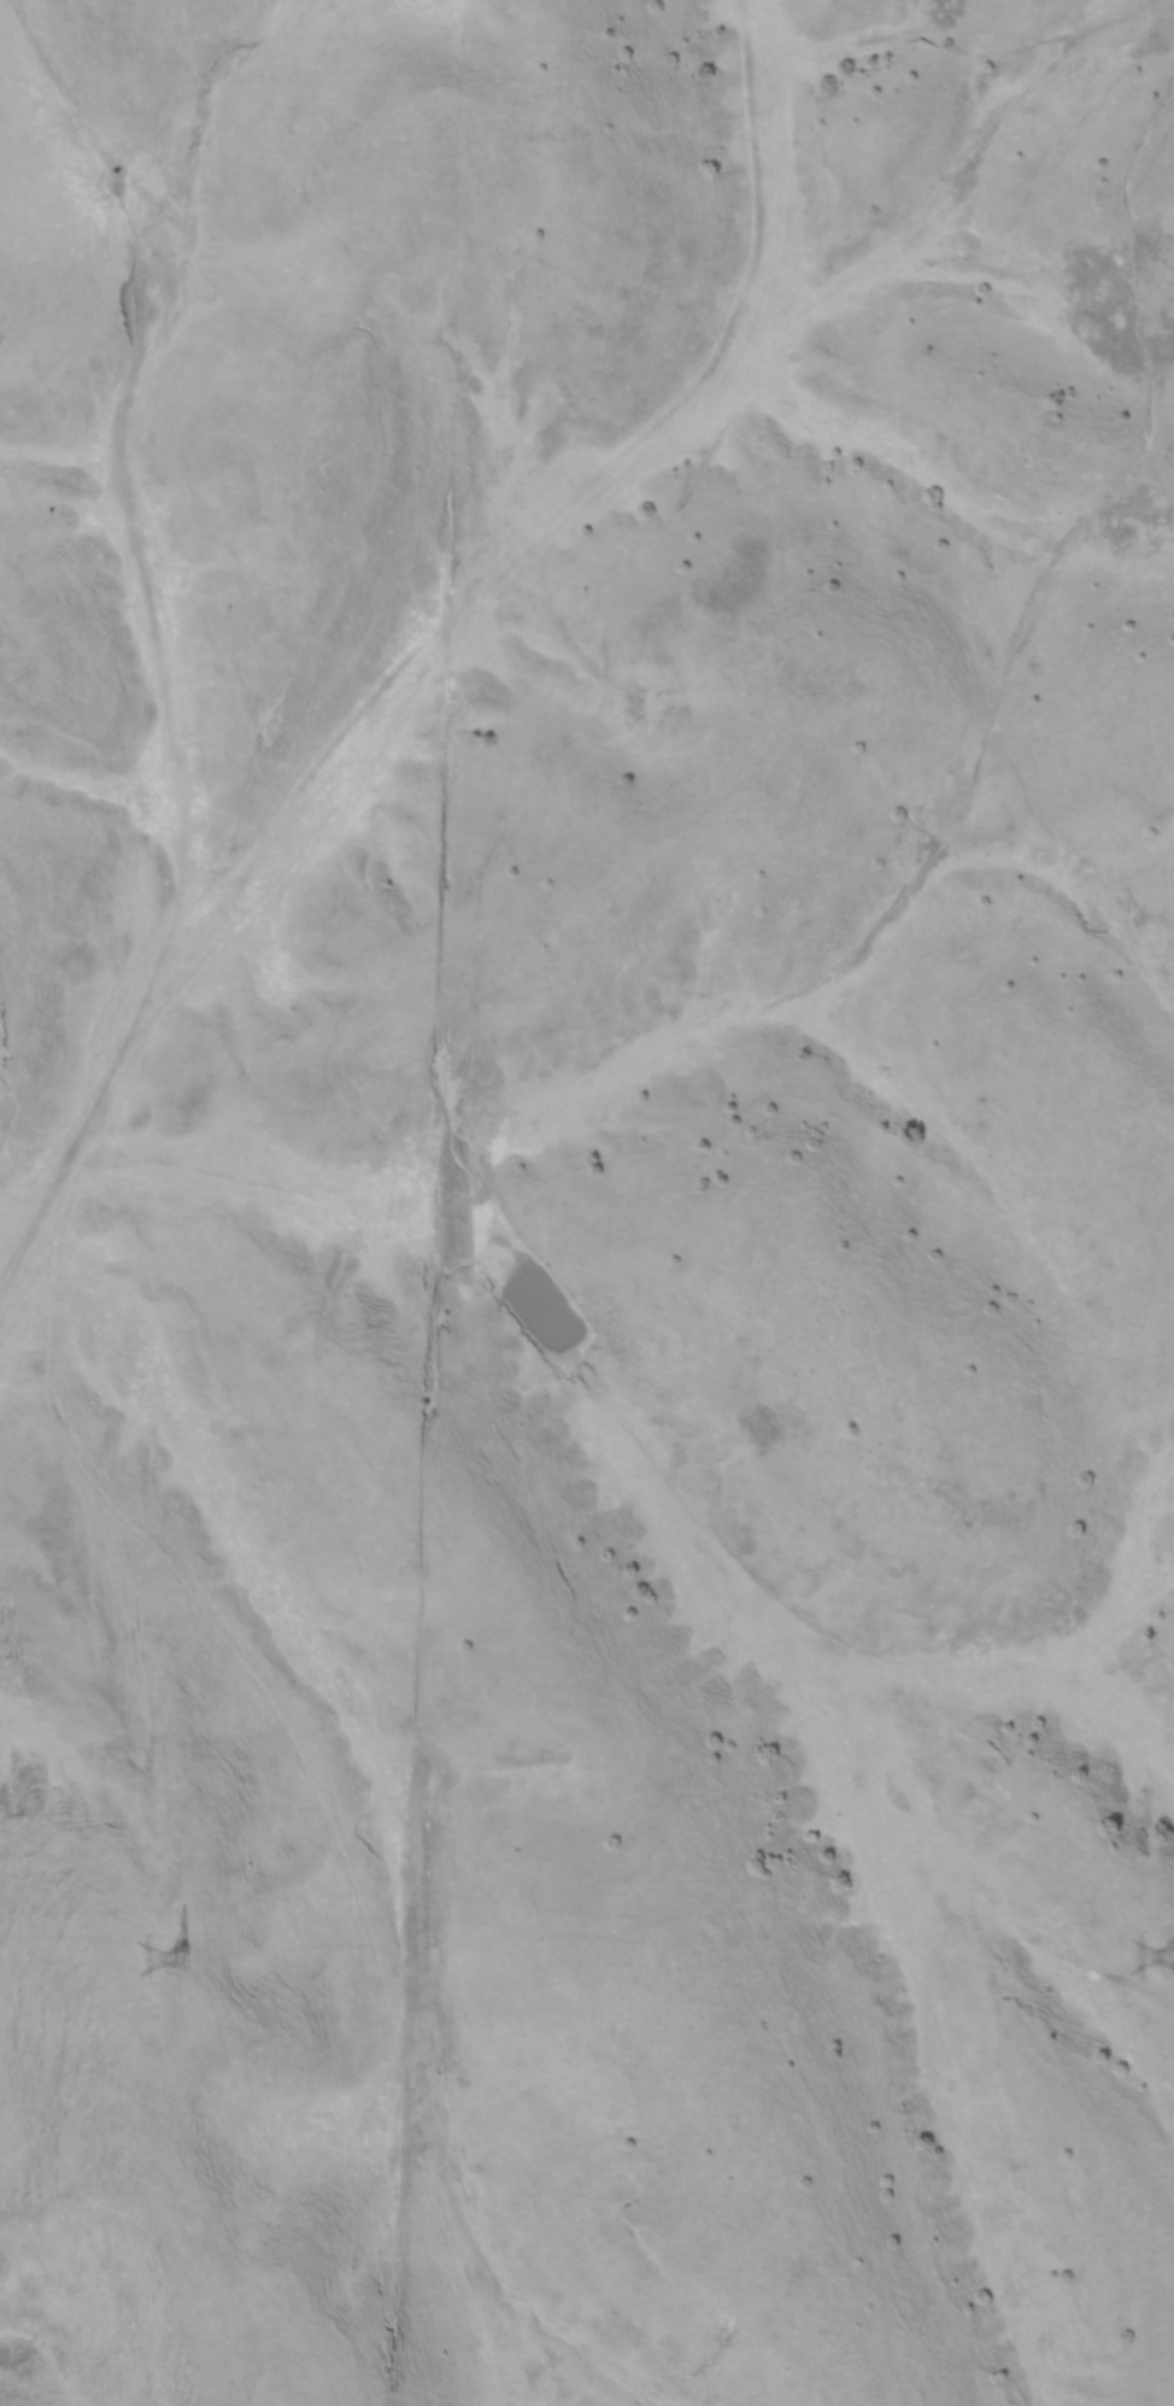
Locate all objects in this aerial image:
power tower: (182, 1954)

